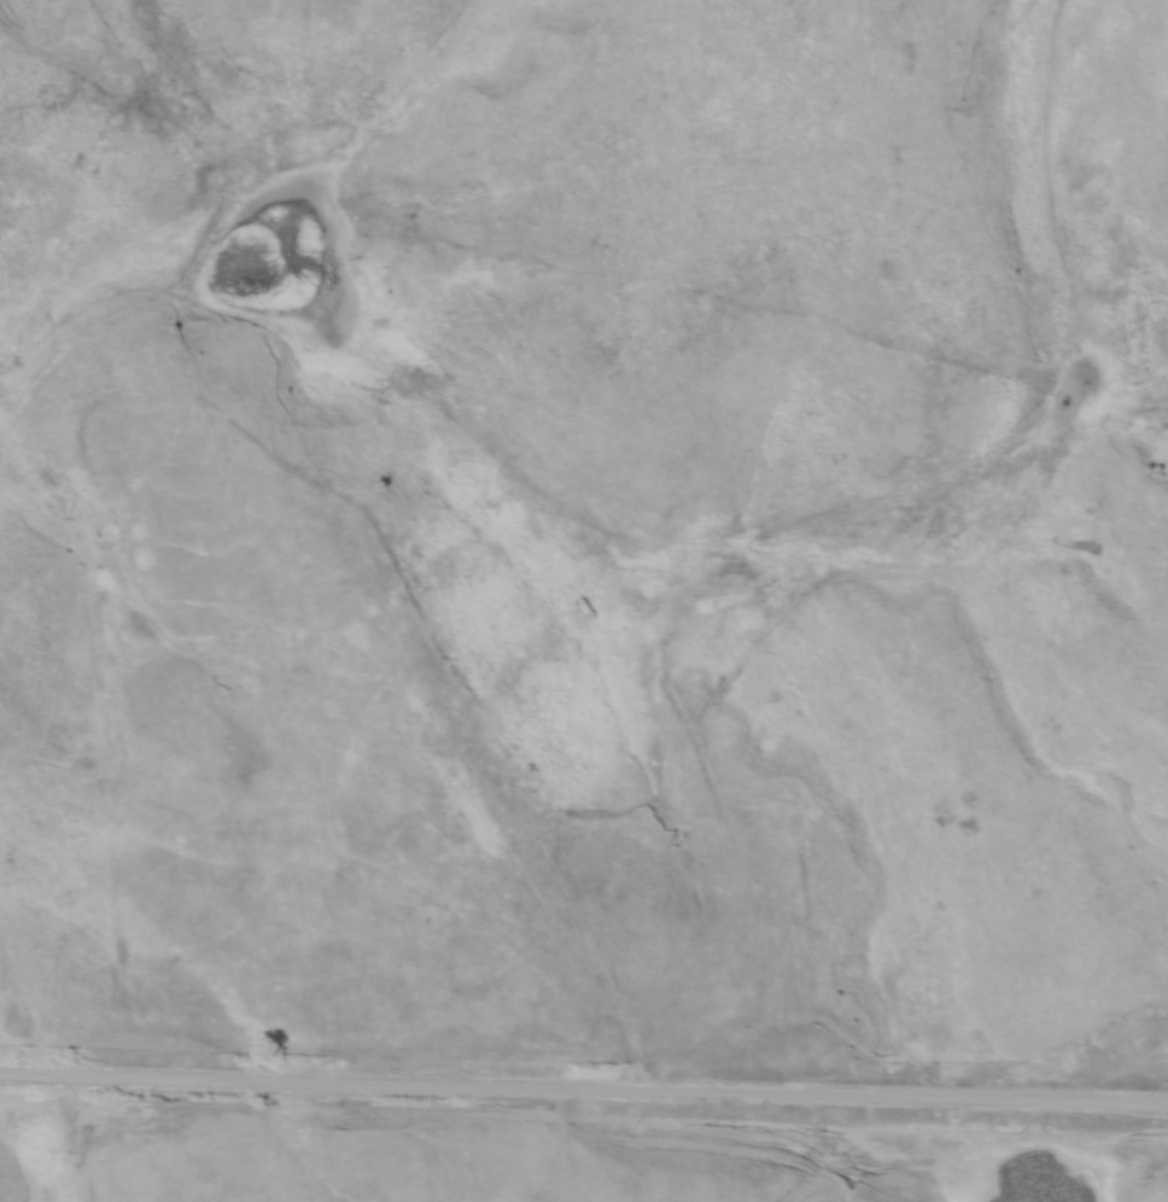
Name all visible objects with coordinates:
road: (583, 1092)

